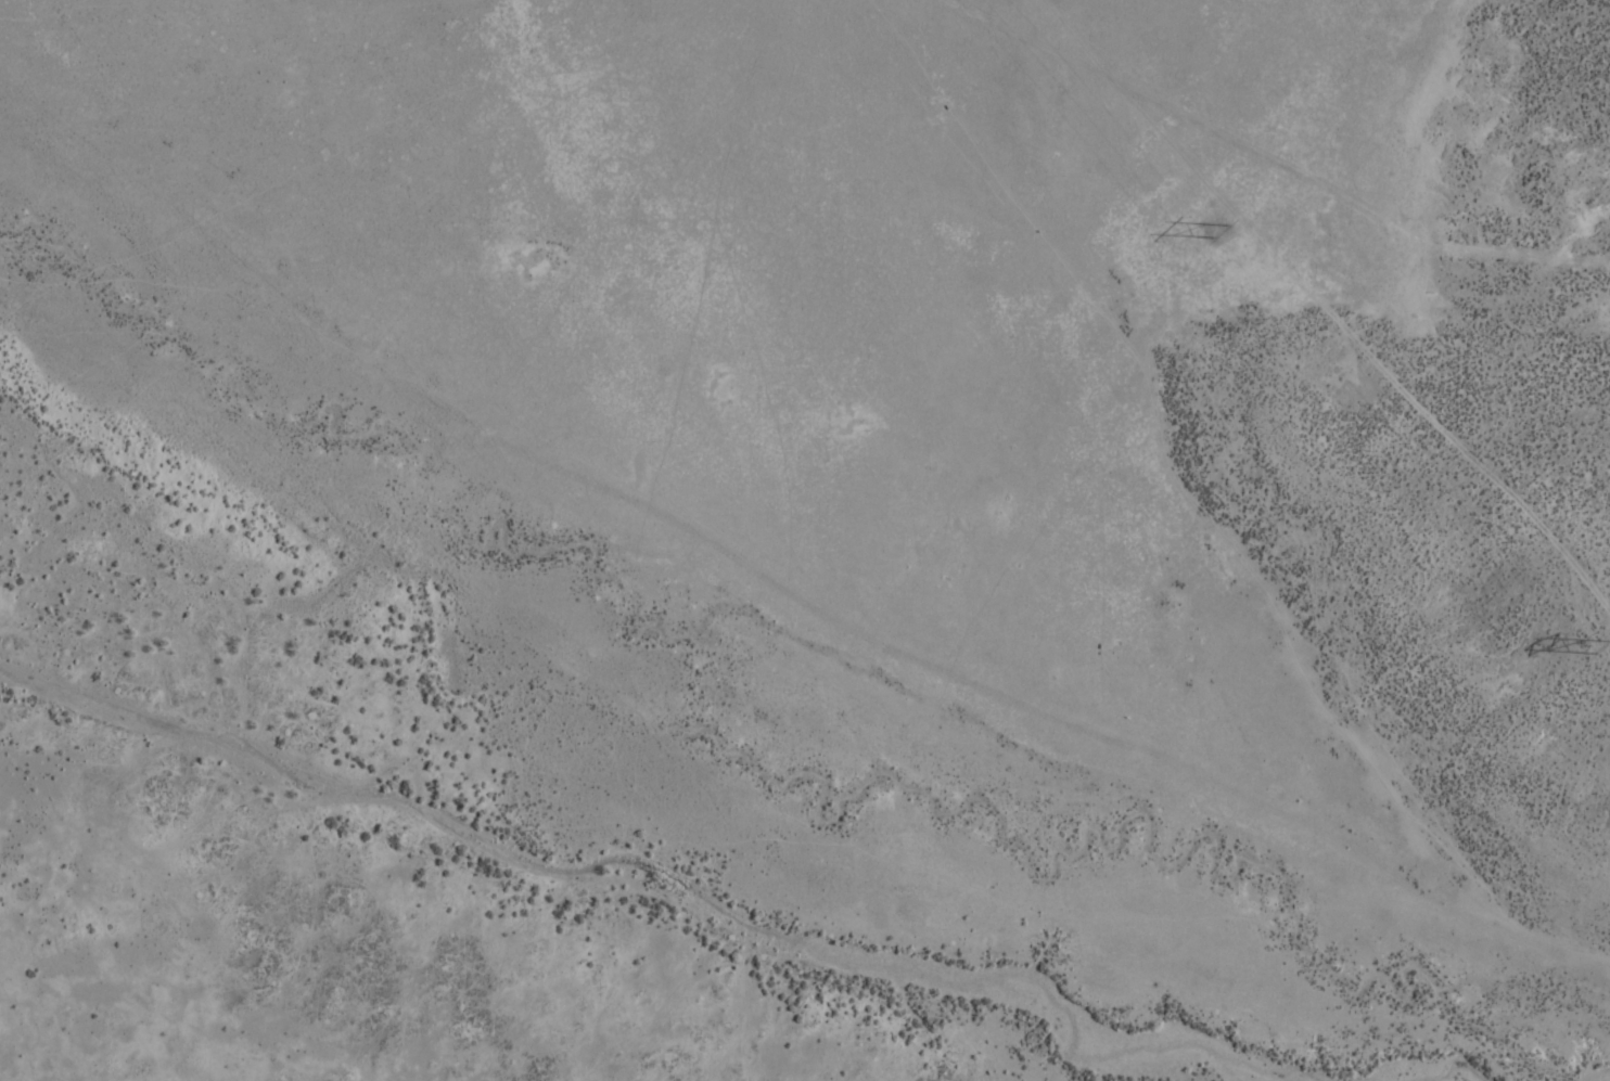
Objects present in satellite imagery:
power tower: (1213, 221)
power tower: (1593, 644)
river: (588, 906)

